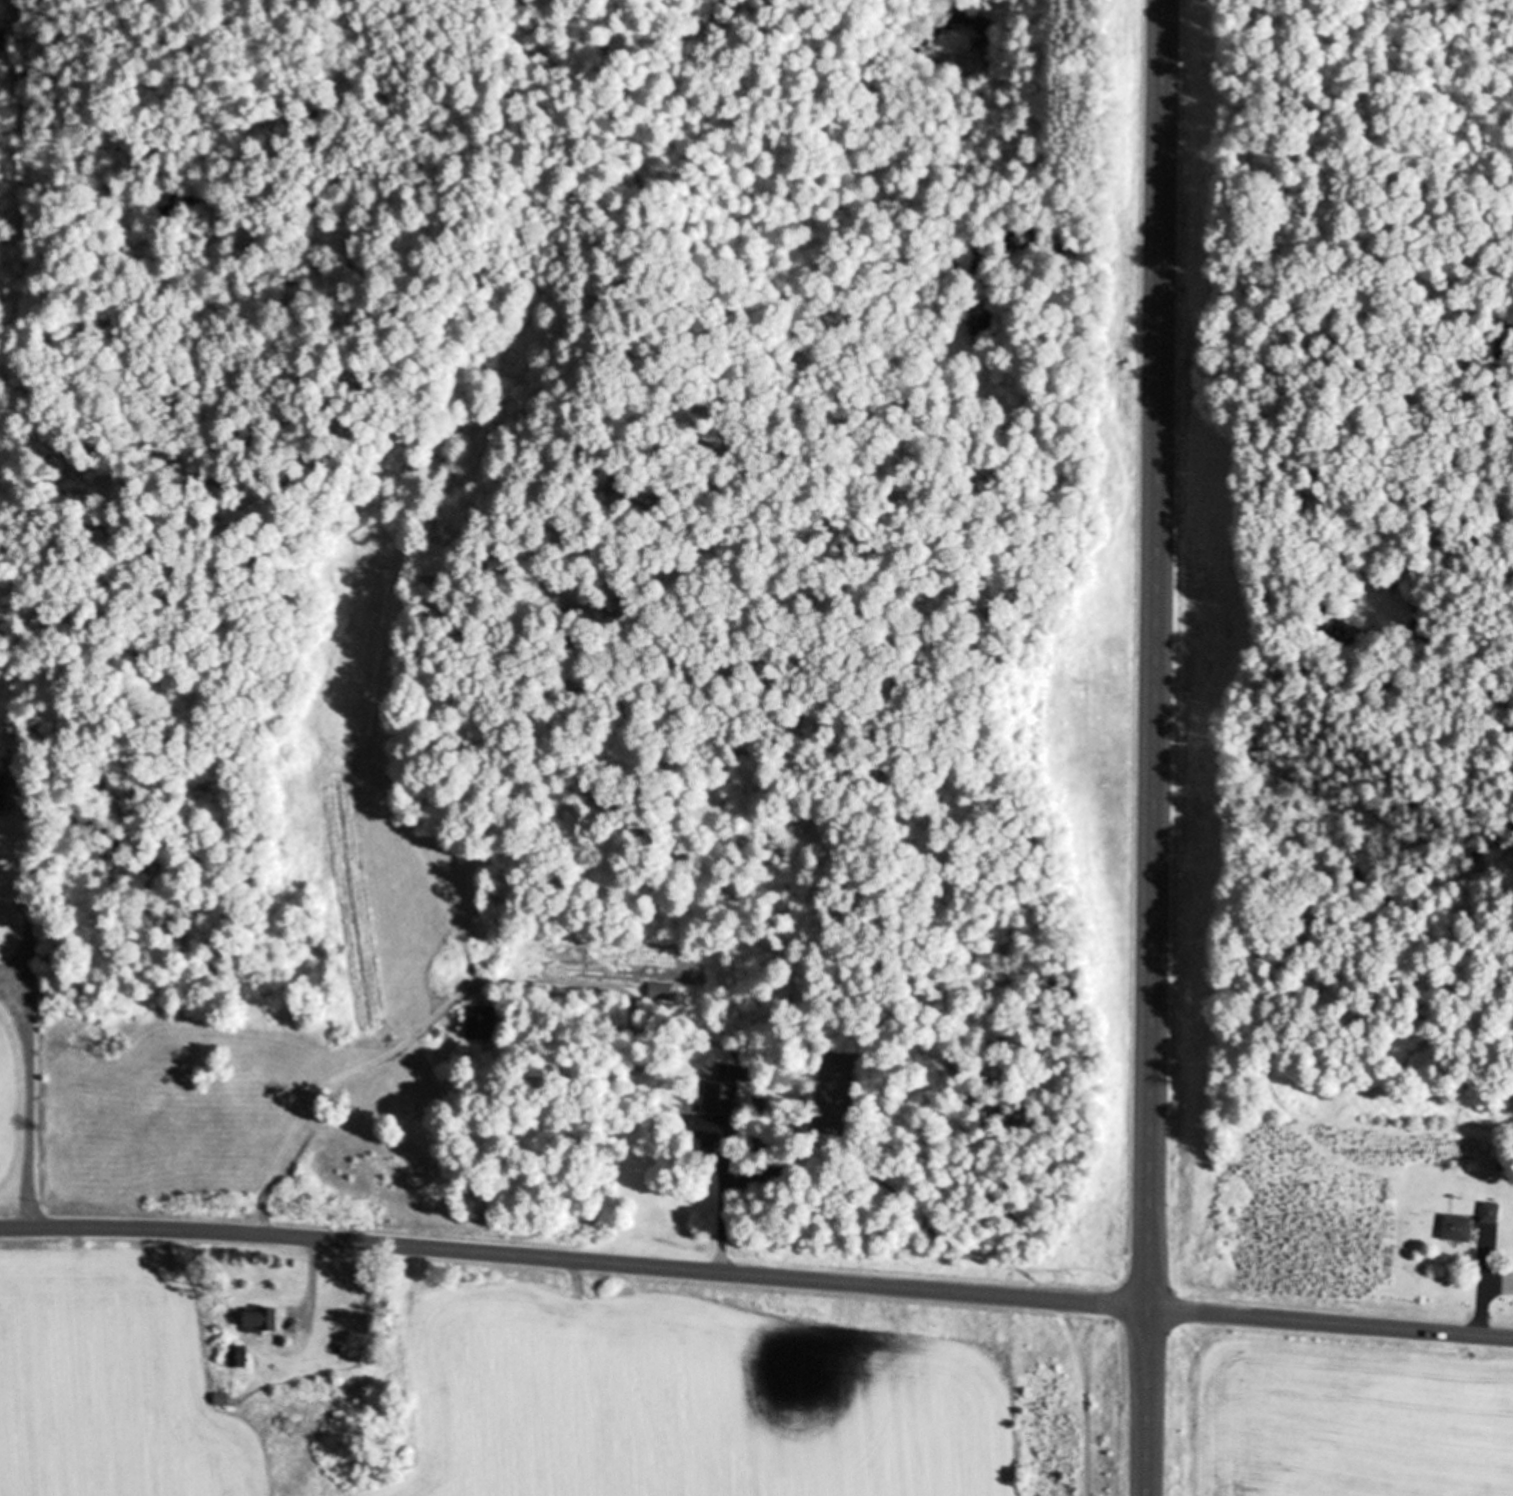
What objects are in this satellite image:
road: (1152, 747)
building: (3, 794)
building: (664, 992)
road: (29, 1021)
building: (481, 1023)
building: (722, 1091)
building: (1492, 1212)
road: (724, 1218)
building: (1459, 1228)
road: (312, 1274)
road: (756, 1274)
road: (1484, 1300)
building: (263, 1321)
building: (240, 1357)

